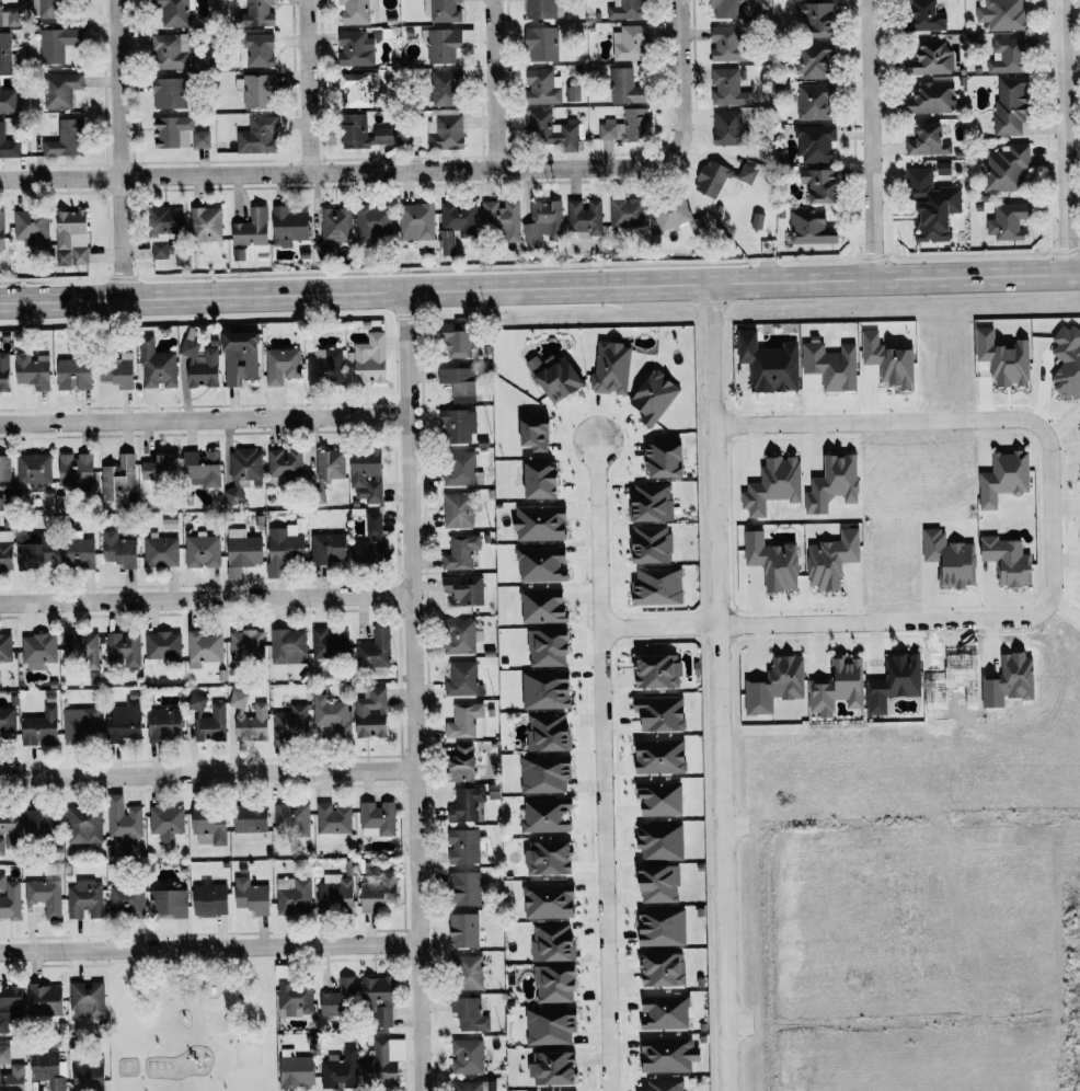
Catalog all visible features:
building: (45, 8)
building: (542, 9)
building: (727, 9)
building: (627, 10)
building: (355, 11)
building: (443, 11)
building: (172, 12)
building: (255, 14)
building: (1001, 14)
building: (8, 16)
building: (926, 16)
building: (816, 18)
building: (632, 42)
building: (727, 43)
building: (56, 44)
building: (541, 44)
building: (443, 45)
building: (355, 48)
building: (170, 50)
building: (257, 50)
building: (4, 51)
building: (1007, 55)
building: (931, 58)
building: (814, 59)
road: (681, 76)
road: (494, 84)
building: (628, 85)
road: (308, 87)
building: (542, 87)
building: (357, 88)
building: (444, 88)
building: (728, 88)
building: (60, 90)
building: (254, 90)
building: (168, 93)
building: (572, 93)
building: (931, 97)
building: (8, 101)
building: (814, 102)
building: (1011, 105)
building: (627, 126)
building: (729, 127)
building: (445, 129)
building: (550, 130)
building: (173, 131)
building: (364, 133)
building: (257, 136)
road: (1069, 138)
building: (65, 139)
building: (200, 139)
road: (874, 141)
building: (928, 141)
building: (815, 142)
building: (8, 145)
road: (118, 149)
building: (1006, 169)
road: (341, 172)
building: (721, 176)
building: (820, 184)
building: (932, 205)
building: (629, 213)
building: (585, 216)
building: (682, 217)
building: (460, 218)
building: (757, 220)
building: (1008, 221)
building: (372, 222)
building: (417, 223)
building: (542, 223)
building: (206, 225)
building: (335, 225)
building: (288, 226)
building: (32, 227)
building: (812, 228)
building: (1, 230)
building: (164, 231)
building: (71, 238)
building: (447, 242)
road: (540, 288)
building: (456, 340)
building: (240, 357)
building: (370, 358)
building: (1003, 358)
building: (1068, 361)
building: (770, 364)
building: (200, 365)
building: (282, 365)
building: (830, 365)
building: (156, 366)
building: (325, 367)
building: (611, 367)
building: (32, 370)
building: (4, 371)
building: (118, 371)
building: (73, 374)
building: (555, 377)
building: (459, 383)
building: (654, 397)
road: (204, 417)
road: (912, 418)
building: (457, 426)
building: (536, 434)
building: (664, 460)
building: (284, 463)
building: (245, 464)
building: (33, 468)
building: (160, 468)
building: (4, 469)
building: (76, 469)
building: (202, 469)
building: (328, 469)
building: (460, 469)
building: (118, 475)
building: (357, 478)
building: (1004, 478)
building: (541, 480)
building: (834, 483)
building: (232, 495)
building: (651, 502)
building: (458, 509)
building: (540, 522)
building: (372, 540)
building: (652, 544)
building: (34, 548)
building: (328, 548)
building: (119, 550)
building: (161, 551)
building: (203, 551)
building: (242, 552)
building: (460, 552)
building: (77, 553)
building: (831, 559)
building: (950, 559)
building: (1008, 560)
building: (772, 561)
building: (542, 563)
building: (657, 586)
building: (464, 589)
road: (205, 599)
building: (543, 606)
road: (939, 619)
road: (658, 623)
building: (460, 636)
building: (329, 643)
building: (246, 645)
building: (162, 646)
building: (288, 646)
building: (5, 647)
building: (81, 647)
building: (204, 647)
building: (548, 647)
building: (38, 648)
building: (125, 648)
building: (375, 651)
building: (657, 671)
building: (462, 679)
building: (894, 681)
building: (775, 686)
building: (838, 687)
road: (719, 688)
building: (545, 690)
road: (412, 691)
building: (197, 703)
building: (371, 713)
building: (662, 713)
building: (331, 715)
building: (249, 719)
building: (466, 722)
building: (125, 723)
building: (290, 723)
building: (164, 724)
building: (211, 724)
building: (80, 726)
building: (41, 728)
building: (548, 733)
building: (660, 756)
road: (600, 762)
building: (462, 763)
road: (207, 772)
building: (545, 773)
building: (660, 800)
building: (467, 805)
building: (548, 816)
building: (292, 817)
building: (377, 819)
building: (123, 820)
building: (332, 820)
building: (166, 822)
building: (250, 822)
building: (39, 824)
building: (208, 826)
building: (8, 827)
building: (83, 827)
building: (660, 842)
building: (462, 847)
building: (549, 859)
building: (349, 869)
building: (659, 884)
building: (464, 889)
building: (379, 892)
building: (336, 894)
building: (44, 896)
building: (251, 896)
building: (292, 896)
building: (9, 899)
building: (84, 899)
building: (209, 899)
building: (126, 900)
building: (549, 901)
building: (169, 904)
building: (662, 928)
building: (463, 931)
building: (552, 943)
road: (209, 945)
building: (663, 971)
building: (467, 973)
building: (555, 984)
building: (338, 998)
building: (87, 999)
building: (379, 999)
building: (44, 1000)
building: (10, 1006)
building: (665, 1012)
building: (469, 1014)
park: (193, 1018)
building: (550, 1026)
building: (3, 1054)
building: (668, 1055)
building: (467, 1056)
building: (379, 1064)
building: (47, 1067)
building: (341, 1069)
building: (553, 1069)
building: (296, 1070)
building: (88, 1075)
building: (12, 1078)
building: (664, 1084)
building: (470, 1086)

